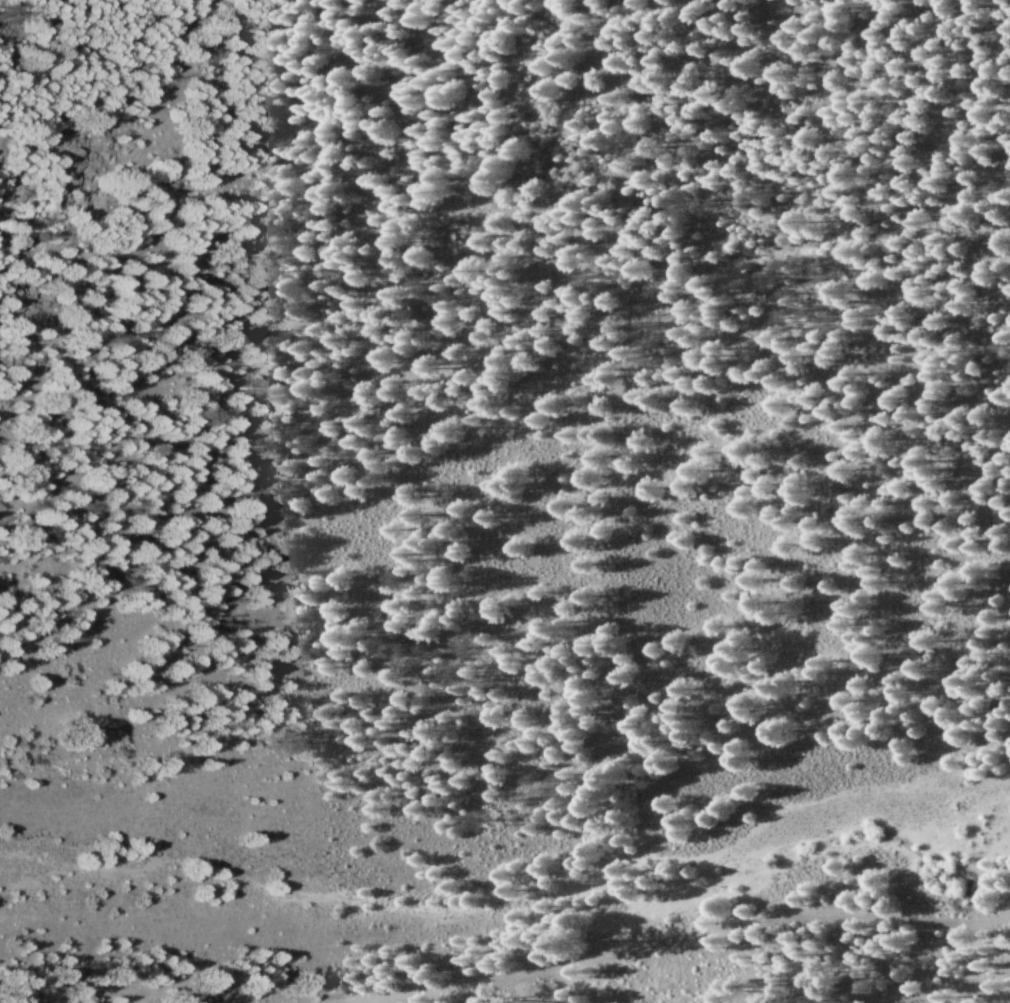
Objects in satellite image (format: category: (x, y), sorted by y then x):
road: (767, 817)
road: (451, 928)

